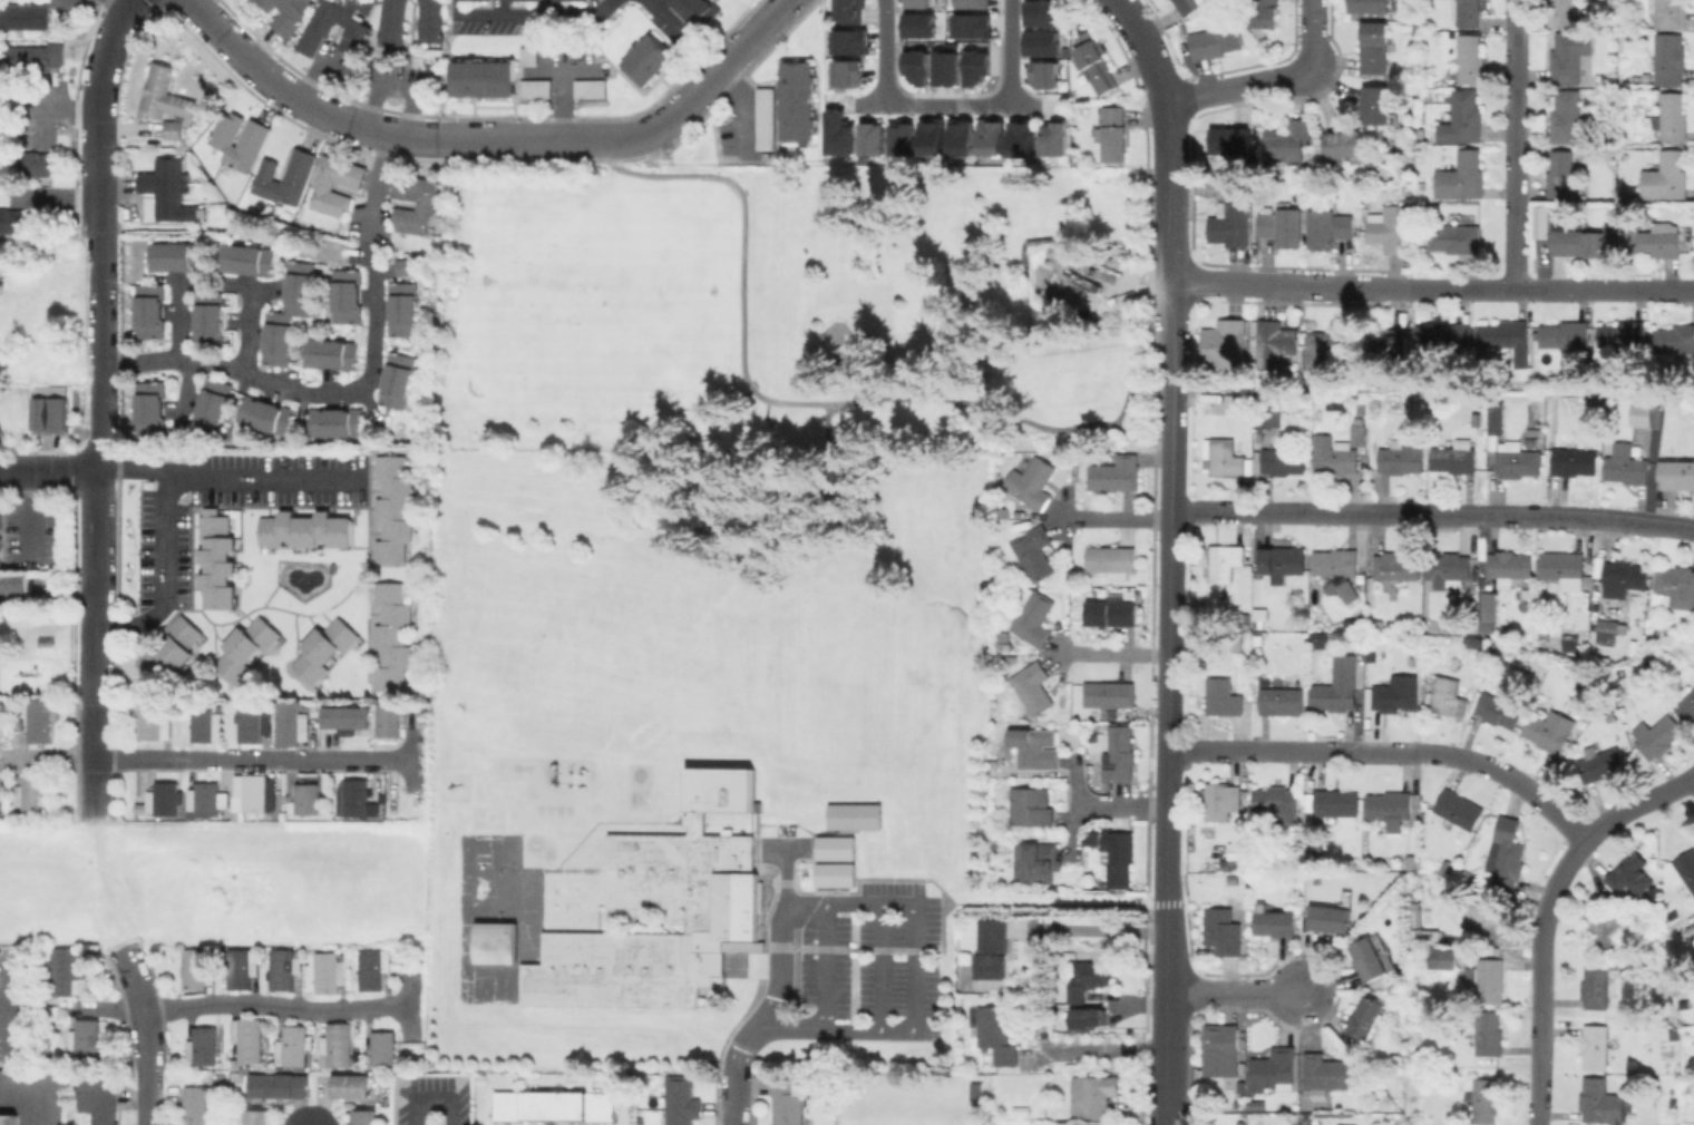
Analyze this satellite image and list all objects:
building: (576, 0)
building: (924, 2)
building: (972, 3)
building: (65, 6)
road: (121, 6)
building: (1189, 6)
building: (1371, 6)
building: (698, 9)
building: (848, 11)
building: (1040, 12)
building: (1265, 12)
building: (1467, 12)
building: (1562, 12)
building: (289, 13)
road: (532, 13)
building: (1669, 13)
building: (25, 16)
building: (427, 20)
building: (389, 21)
building: (917, 25)
building: (971, 25)
building: (359, 30)
building: (1409, 30)
road: (682, 35)
building: (1217, 40)
building: (849, 41)
building: (1041, 42)
building: (1375, 47)
road: (1141, 48)
road: (880, 51)
road: (1006, 52)
building: (32, 55)
building: (1570, 57)
building: (645, 58)
building: (1471, 59)
building: (1669, 59)
building: (1096, 62)
building: (915, 66)
building: (975, 67)
building: (945, 68)
building: (847, 72)
building: (1043, 75)
building: (481, 78)
road: (1268, 80)
building: (534, 88)
building: (588, 88)
building: (162, 96)
building: (795, 100)
road: (561, 104)
road: (944, 104)
building: (1376, 104)
road: (100, 113)
building: (1567, 116)
building: (763, 118)
building: (1463, 118)
building: (1672, 118)
building: (173, 131)
building: (837, 133)
building: (1116, 134)
building: (931, 137)
building: (991, 137)
road: (493, 138)
building: (870, 138)
building: (900, 138)
building: (962, 138)
building: (1020, 139)
building: (1230, 140)
building: (252, 143)
building: (1288, 143)
building: (1057, 144)
road: (1517, 145)
building: (1347, 146)
building: (35, 163)
building: (1562, 174)
building: (1462, 176)
building: (1667, 176)
building: (286, 177)
building: (324, 184)
road: (376, 187)
building: (1228, 190)
road: (50, 192)
building: (171, 192)
building: (428, 203)
road: (1168, 209)
building: (13, 221)
building: (1542, 222)
building: (1231, 224)
building: (1283, 226)
building: (1390, 227)
building: (1330, 228)
building: (1456, 238)
building: (1652, 241)
building: (1579, 243)
building: (174, 256)
building: (245, 261)
road: (1291, 284)
park: (595, 285)
building: (300, 286)
road: (1552, 290)
building: (344, 295)
park: (795, 309)
building: (148, 311)
road: (242, 311)
building: (401, 311)
road: (172, 315)
building: (206, 317)
building: (1505, 333)
building: (1624, 333)
building: (1566, 334)
building: (1444, 335)
building: (1675, 339)
building: (1399, 340)
building: (276, 342)
park: (524, 343)
building: (1226, 343)
building: (1276, 343)
building: (1328, 344)
building: (331, 354)
road: (103, 363)
building: (397, 380)
road: (306, 385)
road: (752, 392)
building: (1424, 394)
road: (1123, 399)
building: (1237, 400)
building: (1478, 400)
building: (1377, 402)
building: (210, 404)
building: (148, 408)
building: (52, 412)
building: (265, 414)
building: (1643, 415)
building: (1266, 417)
building: (1476, 417)
building: (1497, 417)
building: (1536, 420)
building: (334, 423)
building: (1360, 430)
building: (1534, 438)
building: (1335, 454)
building: (1403, 454)
building: (1457, 457)
building: (1226, 458)
building: (1285, 460)
building: (1517, 461)
building: (1575, 461)
building: (1627, 464)
road: (133, 467)
road: (49, 471)
building: (1117, 473)
building: (1677, 473)
road: (164, 477)
building: (1033, 482)
building: (391, 508)
building: (1002, 512)
road: (1432, 515)
road: (1113, 518)
building: (303, 529)
building: (1035, 552)
building: (215, 559)
building: (1112, 560)
building: (1224, 561)
building: (1283, 561)
building: (1399, 566)
building: (1510, 566)
building: (1452, 567)
building: (1566, 569)
building: (1338, 570)
building: (1626, 577)
building: (1677, 584)
building: (12, 585)
road: (1168, 594)
building: (1112, 610)
building: (1491, 613)
building: (1259, 616)
building: (1034, 617)
building: (1376, 624)
building: (1609, 626)
building: (390, 635)
building: (1318, 638)
building: (1259, 640)
building: (1006, 642)
building: (1238, 643)
building: (1570, 643)
building: (168, 648)
building: (243, 648)
building: (321, 648)
road: (1112, 653)
road: (97, 654)
building: (1356, 668)
park: (898, 673)
building: (1033, 689)
building: (1110, 694)
building: (1398, 694)
building: (1224, 696)
building: (1334, 696)
building: (1449, 697)
building: (1282, 701)
building: (1687, 708)
building: (1500, 711)
building: (1, 712)
building: (345, 716)
building: (40, 718)
building: (156, 721)
building: (390, 722)
building: (253, 723)
building: (206, 724)
building: (291, 724)
building: (1550, 730)
building: (1659, 735)
building: (1036, 749)
road: (1389, 752)
road: (252, 754)
building: (1120, 754)
road: (48, 756)
road: (409, 756)
building: (1601, 764)
building: (722, 791)
building: (252, 794)
building: (356, 796)
building: (309, 799)
building: (1279, 799)
building: (30, 800)
building: (163, 800)
building: (206, 800)
building: (1221, 800)
building: (1336, 802)
building: (1, 804)
building: (1031, 806)
road: (1120, 806)
building: (1390, 808)
building: (1458, 809)
building: (855, 815)
road: (782, 844)
building: (831, 845)
building: (1507, 854)
building: (1491, 855)
building: (1119, 857)
building: (1036, 861)
building: (1445, 867)
building: (1686, 868)
building: (1466, 874)
building: (831, 877)
building: (1630, 877)
building: (1318, 878)
road: (109, 888)
road: (1039, 900)
building: (738, 907)
road: (1551, 917)
building: (693, 918)
building: (1331, 918)
building: (1484, 918)
road: (96, 922)
building: (1276, 922)
building: (1690, 923)
building: (1224, 929)
building: (1609, 930)
building: (1427, 936)
building: (1452, 938)
building: (498, 942)
building: (1376, 943)
road: (913, 945)
building: (993, 948)
parking lot: (875, 956)
building: (1370, 958)
building: (1450, 960)
road: (822, 965)
road: (779, 966)
road: (879, 966)
building: (243, 967)
building: (198, 968)
building: (285, 968)
building: (374, 968)
building: (70, 971)
building: (331, 971)
building: (1404, 974)
building: (1089, 977)
building: (1490, 981)
building: (1596, 985)
road: (1235, 991)
road: (1164, 996)
road: (274, 1001)
road: (144, 1007)
building: (1091, 1016)
building: (1367, 1017)
road: (6, 1021)
road: (788, 1030)
building: (995, 1031)
building: (1489, 1034)
building: (249, 1038)
building: (86, 1041)
building: (339, 1045)
building: (204, 1046)
building: (293, 1046)
building: (1596, 1046)
building: (1221, 1047)
building: (384, 1048)
road: (1104, 1048)
building: (1275, 1070)
building: (1327, 1072)
building: (278, 1085)
building: (349, 1085)
road: (40, 1088)
building: (977, 1090)
building: (1093, 1094)
road: (149, 1095)
building: (98, 1098)
parking lot: (430, 1099)
building: (1486, 1099)
building: (682, 1100)
road: (430, 1102)
road: (733, 1102)
building: (787, 1102)
building: (1605, 1102)
building: (196, 1104)
building: (552, 1105)
building: (257, 1115)
building: (364, 1116)
building: (10, 1118)
building: (1336, 1124)
building: (1345, 1124)

